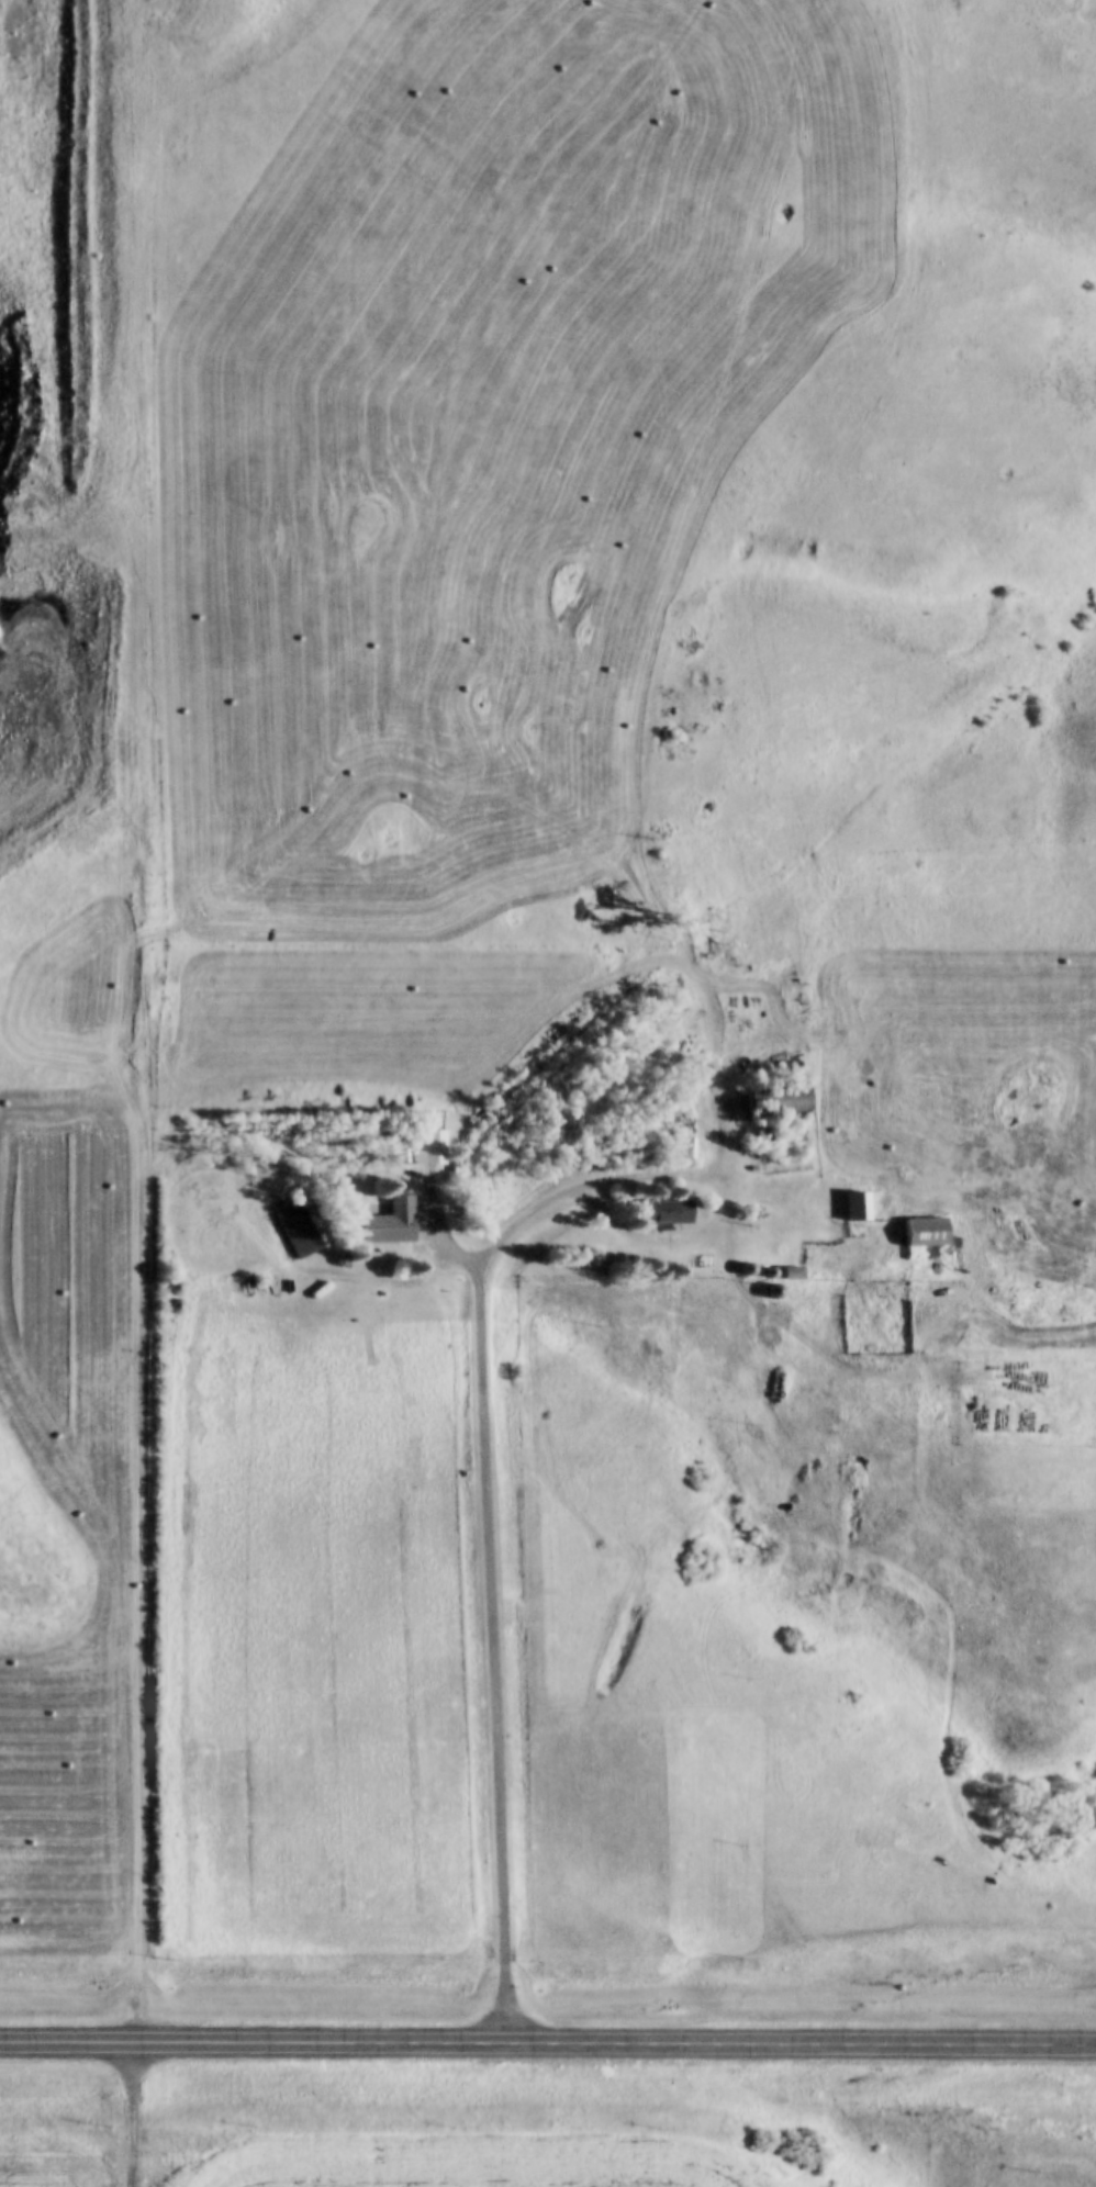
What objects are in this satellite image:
quarry: (43, 257)
road: (655, 595)
building: (769, 1101)
building: (426, 1147)
building: (855, 1207)
building: (661, 1213)
building: (383, 1223)
building: (919, 1234)
building: (297, 1235)
building: (786, 1275)
building: (179, 1299)
road: (487, 1415)
road: (144, 1676)
road: (548, 2041)

